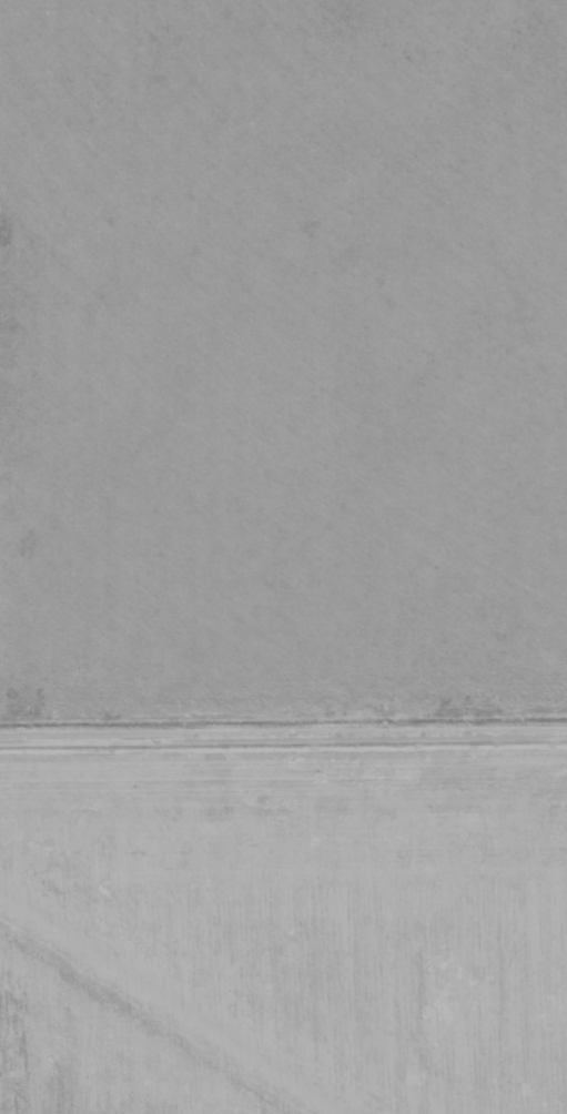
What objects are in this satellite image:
road: (283, 731)

